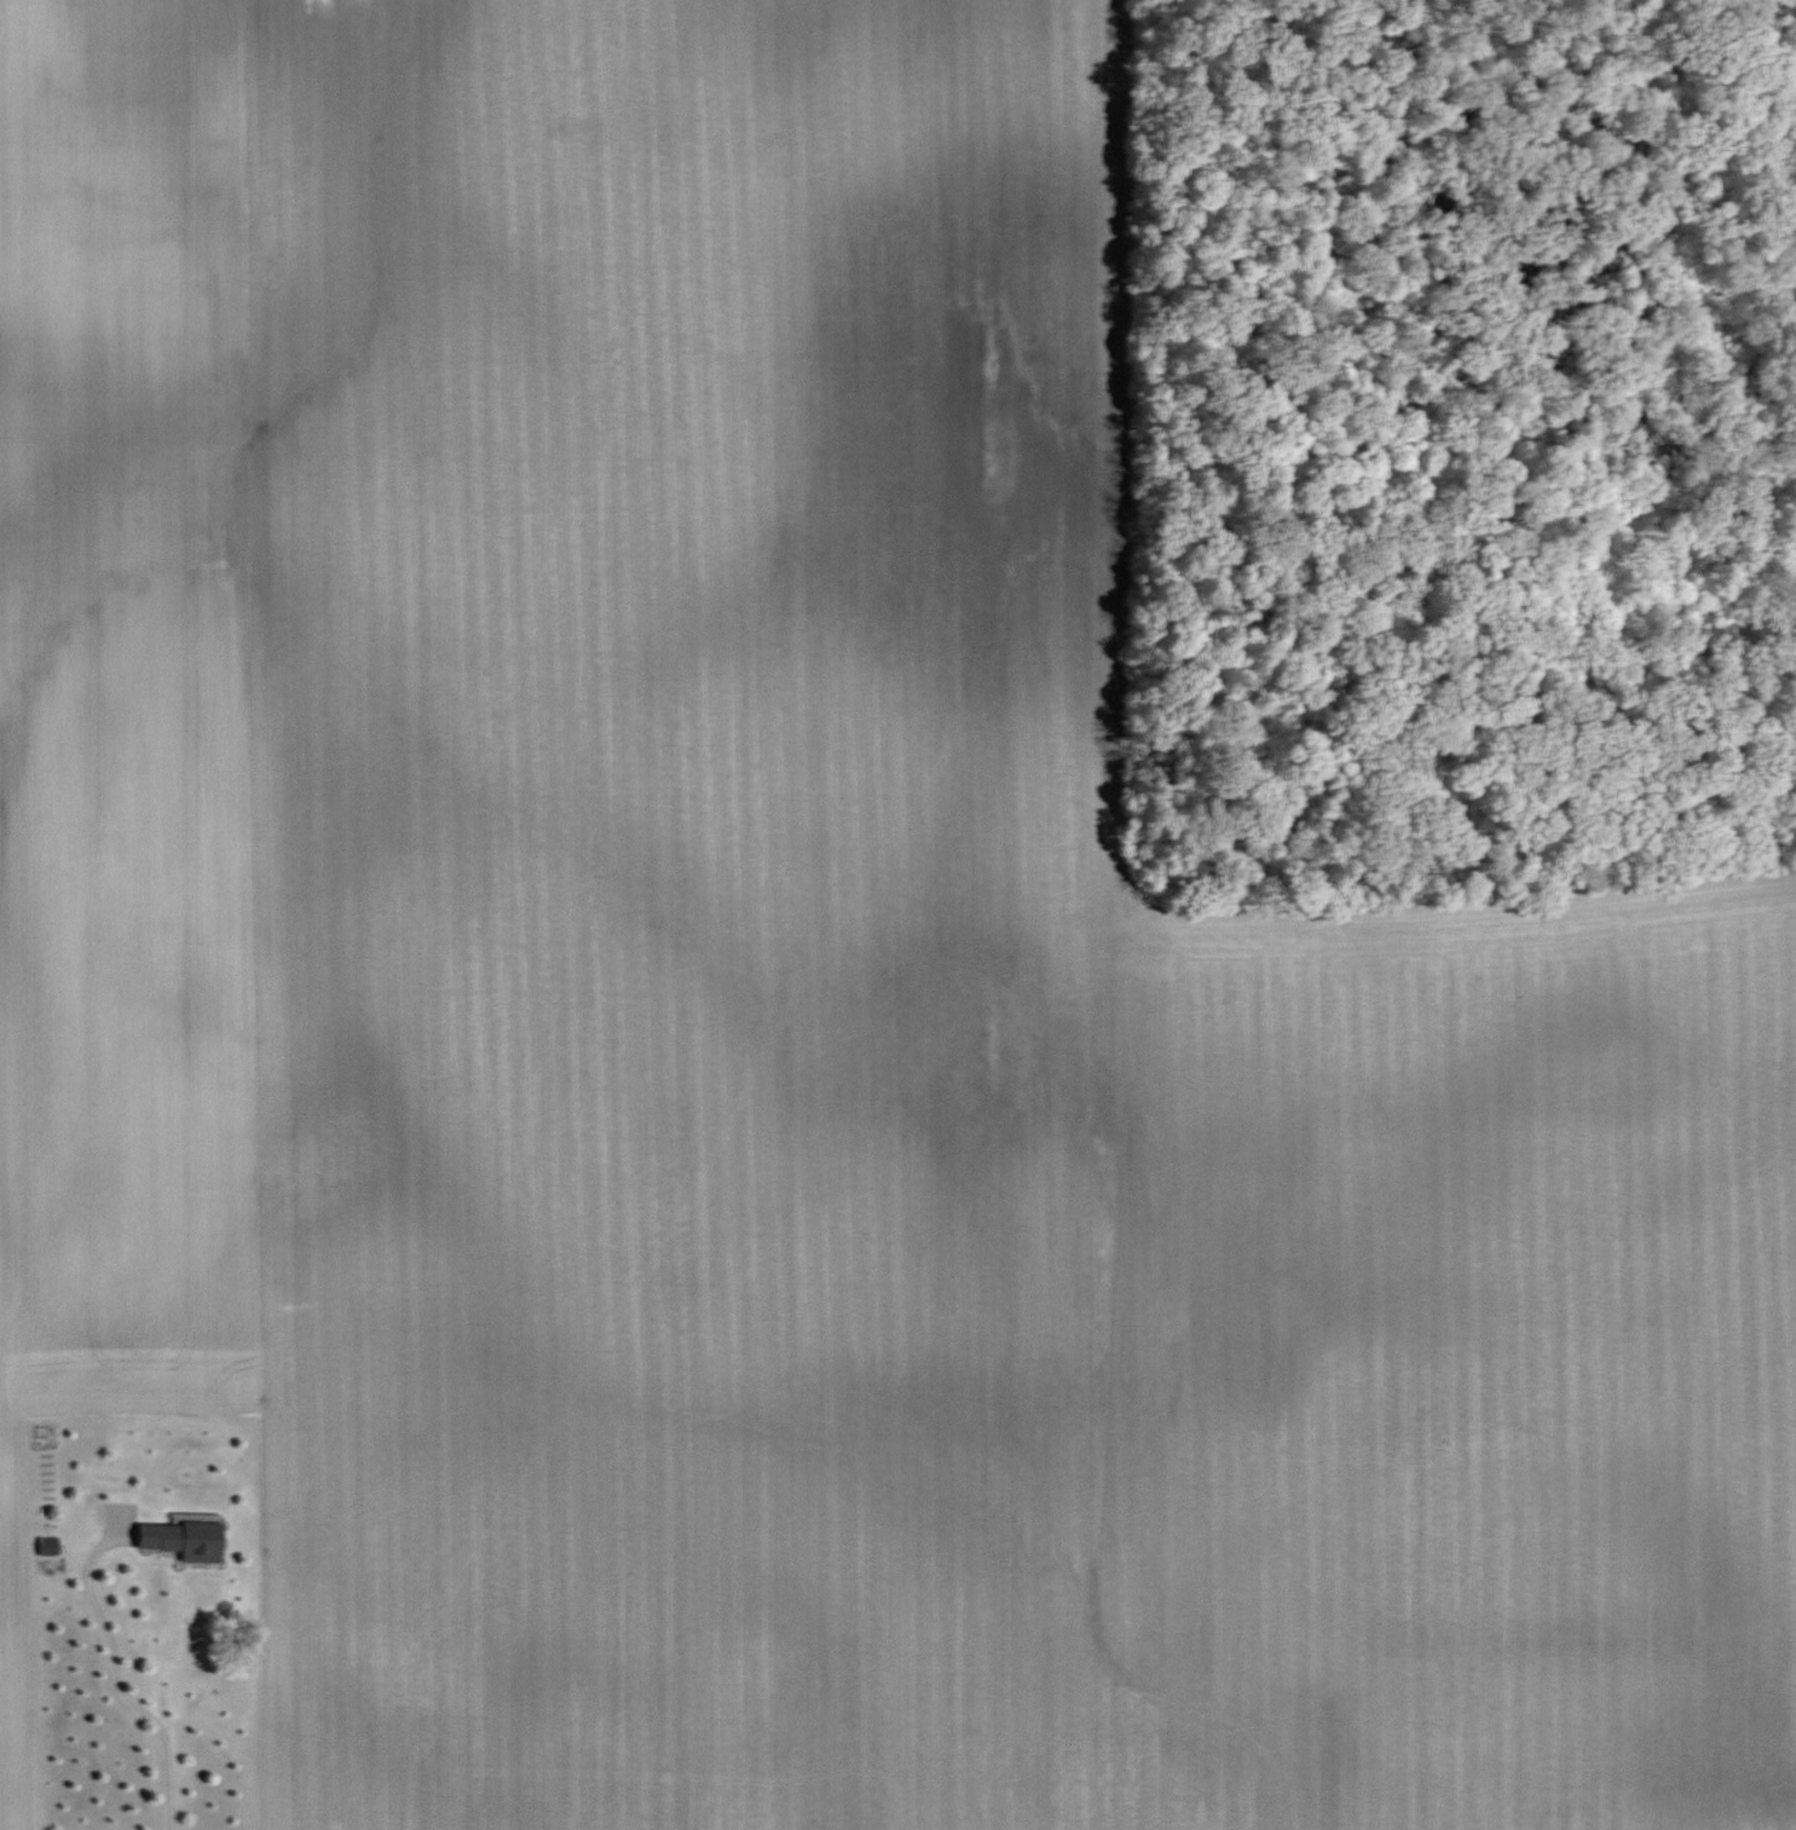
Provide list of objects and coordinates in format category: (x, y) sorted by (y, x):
building: (181, 1539)
building: (46, 1545)
road: (115, 1685)

